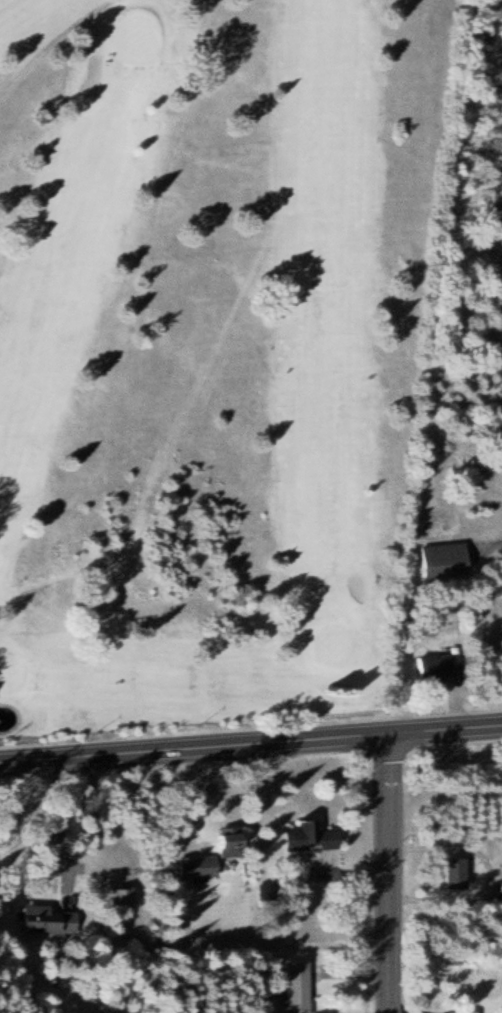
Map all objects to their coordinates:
park: (205, 348)
building: (447, 559)
building: (441, 668)
road: (250, 739)
building: (312, 837)
building: (234, 841)
road: (385, 870)
building: (458, 873)
building: (125, 896)
building: (54, 919)
building: (299, 988)

